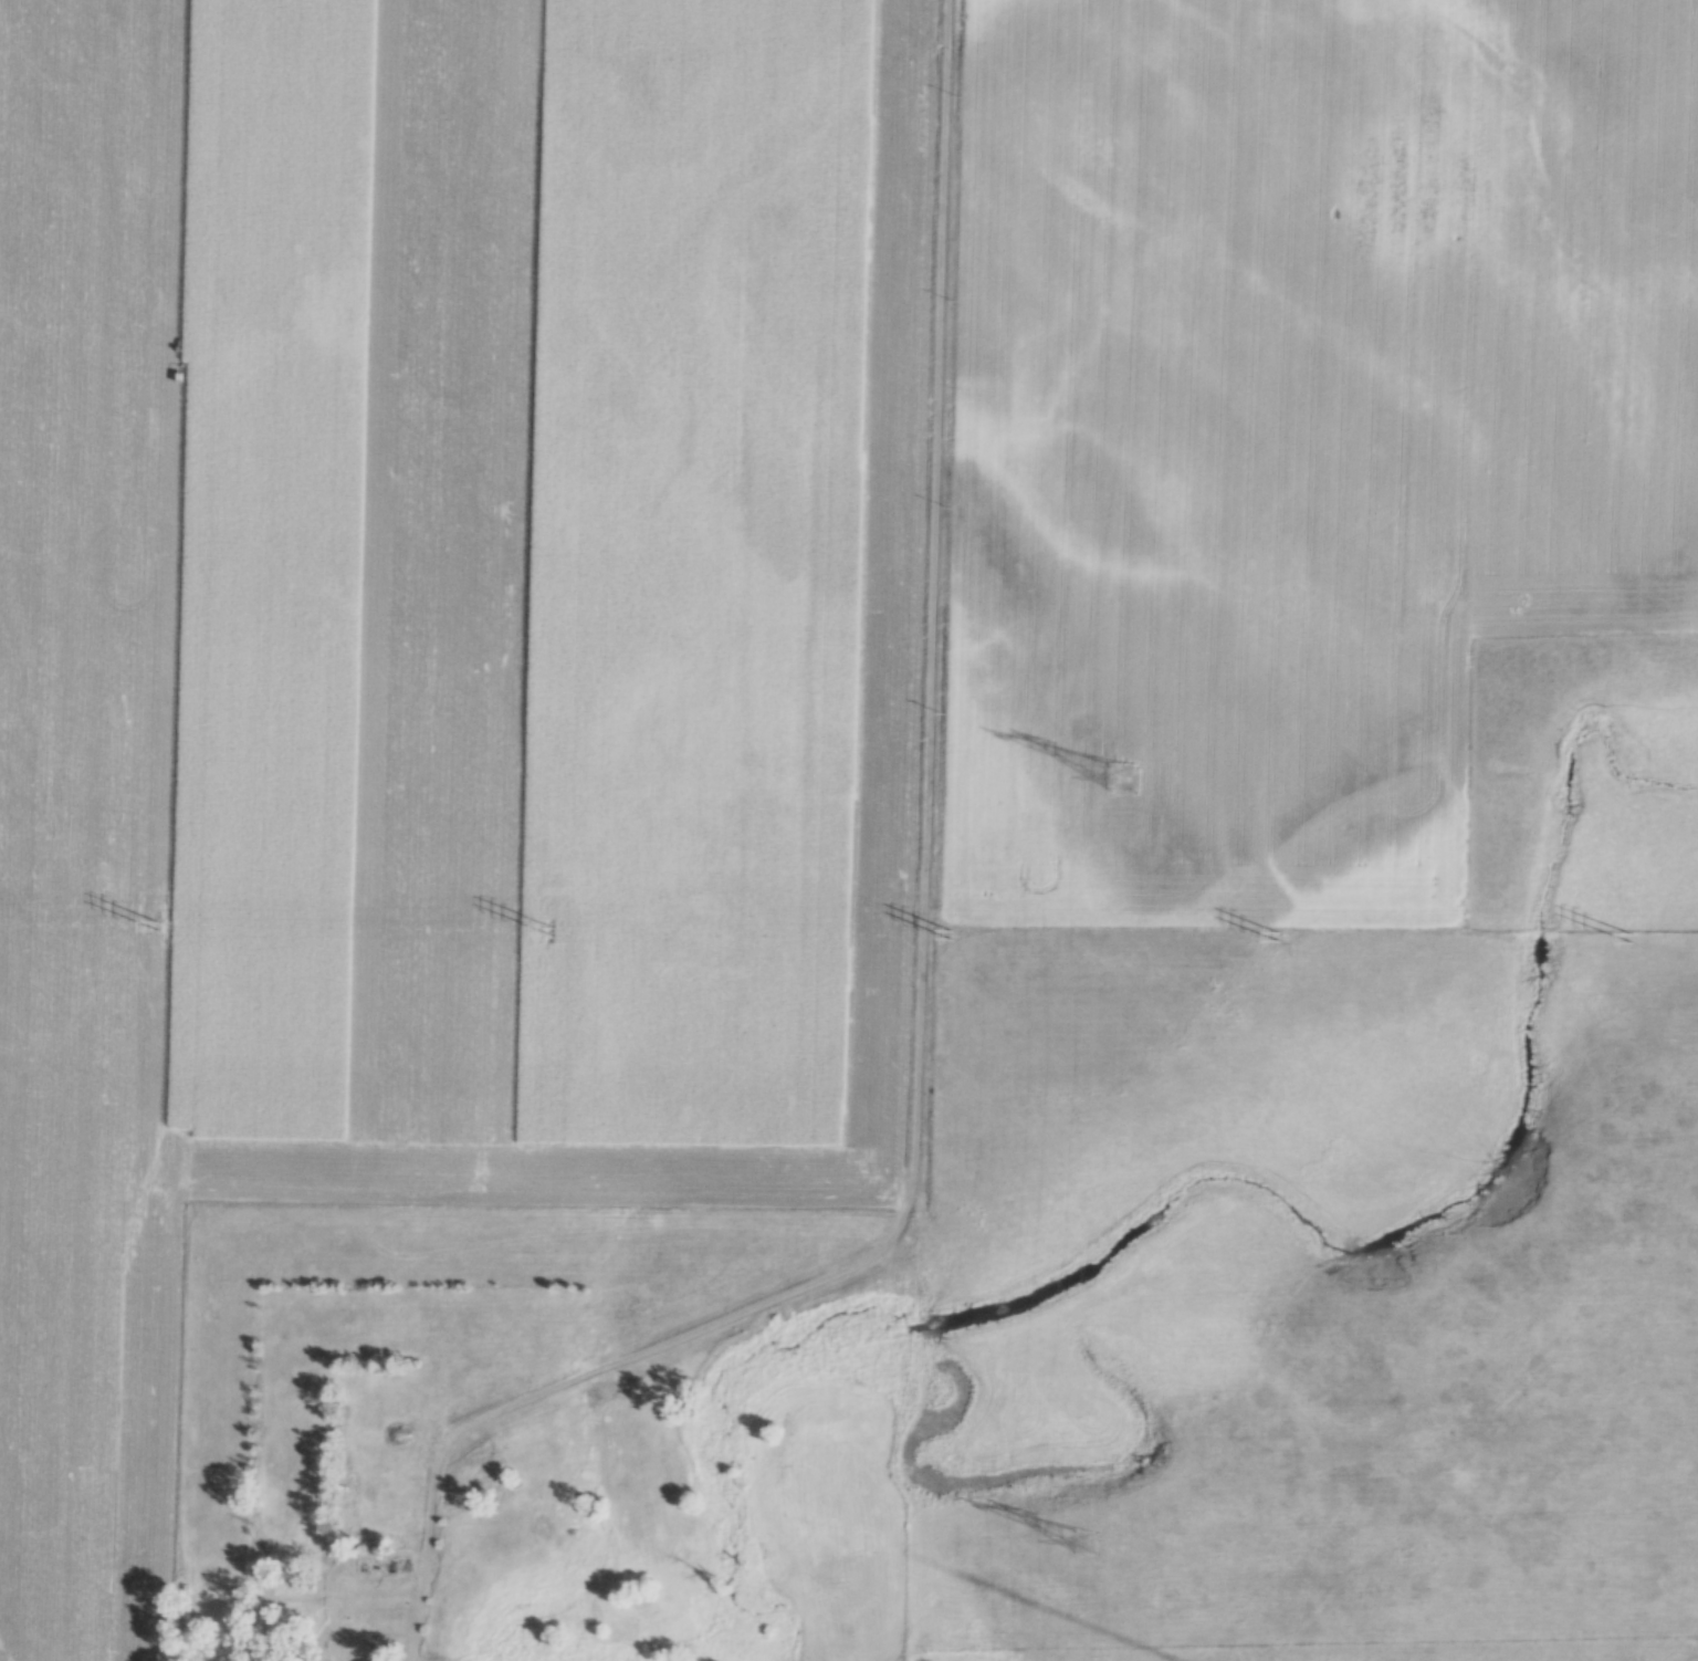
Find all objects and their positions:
power tower: (1123, 781)
power tower: (155, 927)
power tower: (552, 931)
power tower: (952, 937)
power tower: (1278, 937)
power tower: (1631, 940)
power tower: (1084, 1556)

